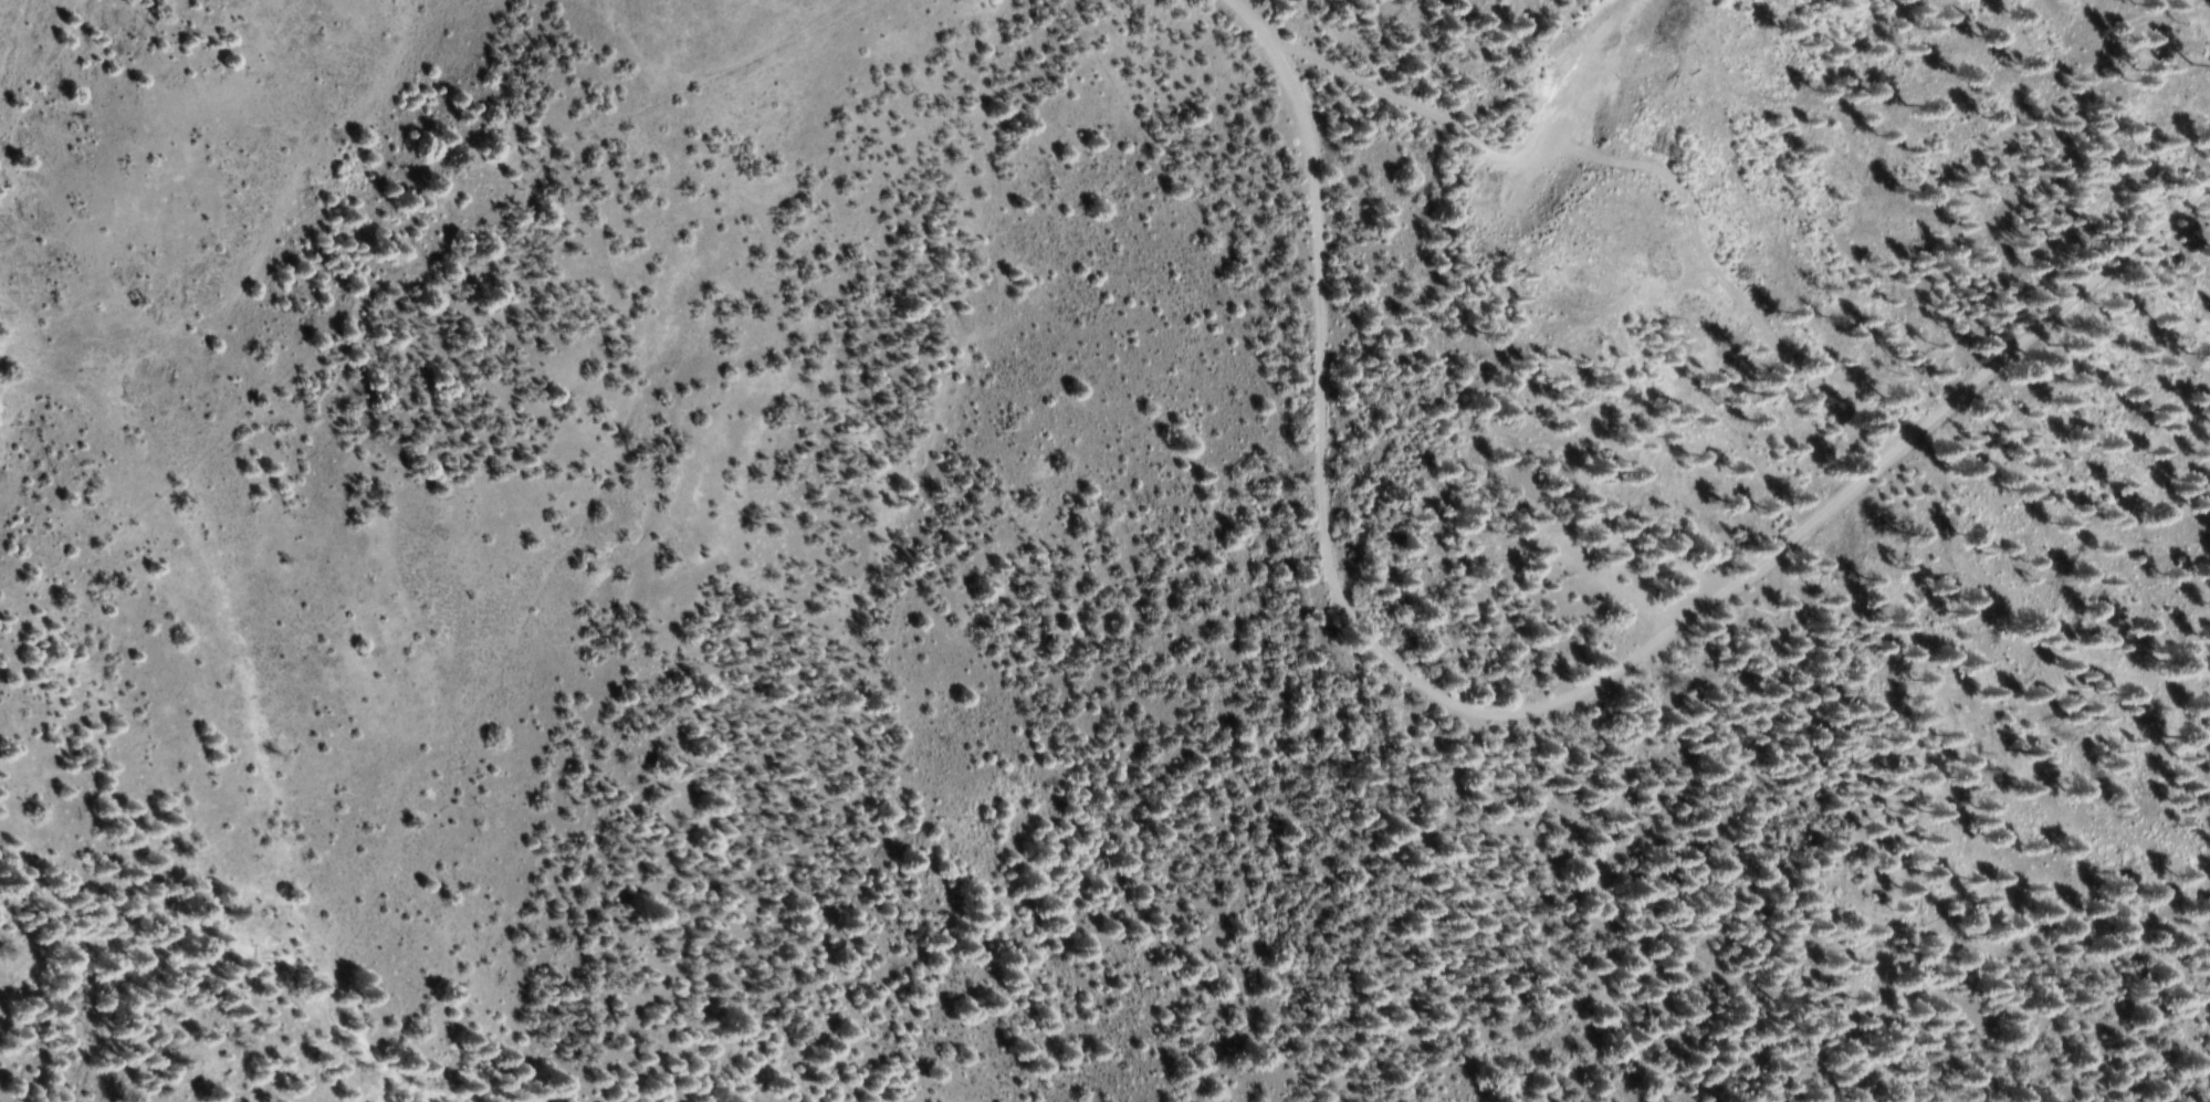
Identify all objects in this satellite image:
quarry: (1565, 115)
road: (1627, 162)
road: (1523, 705)

